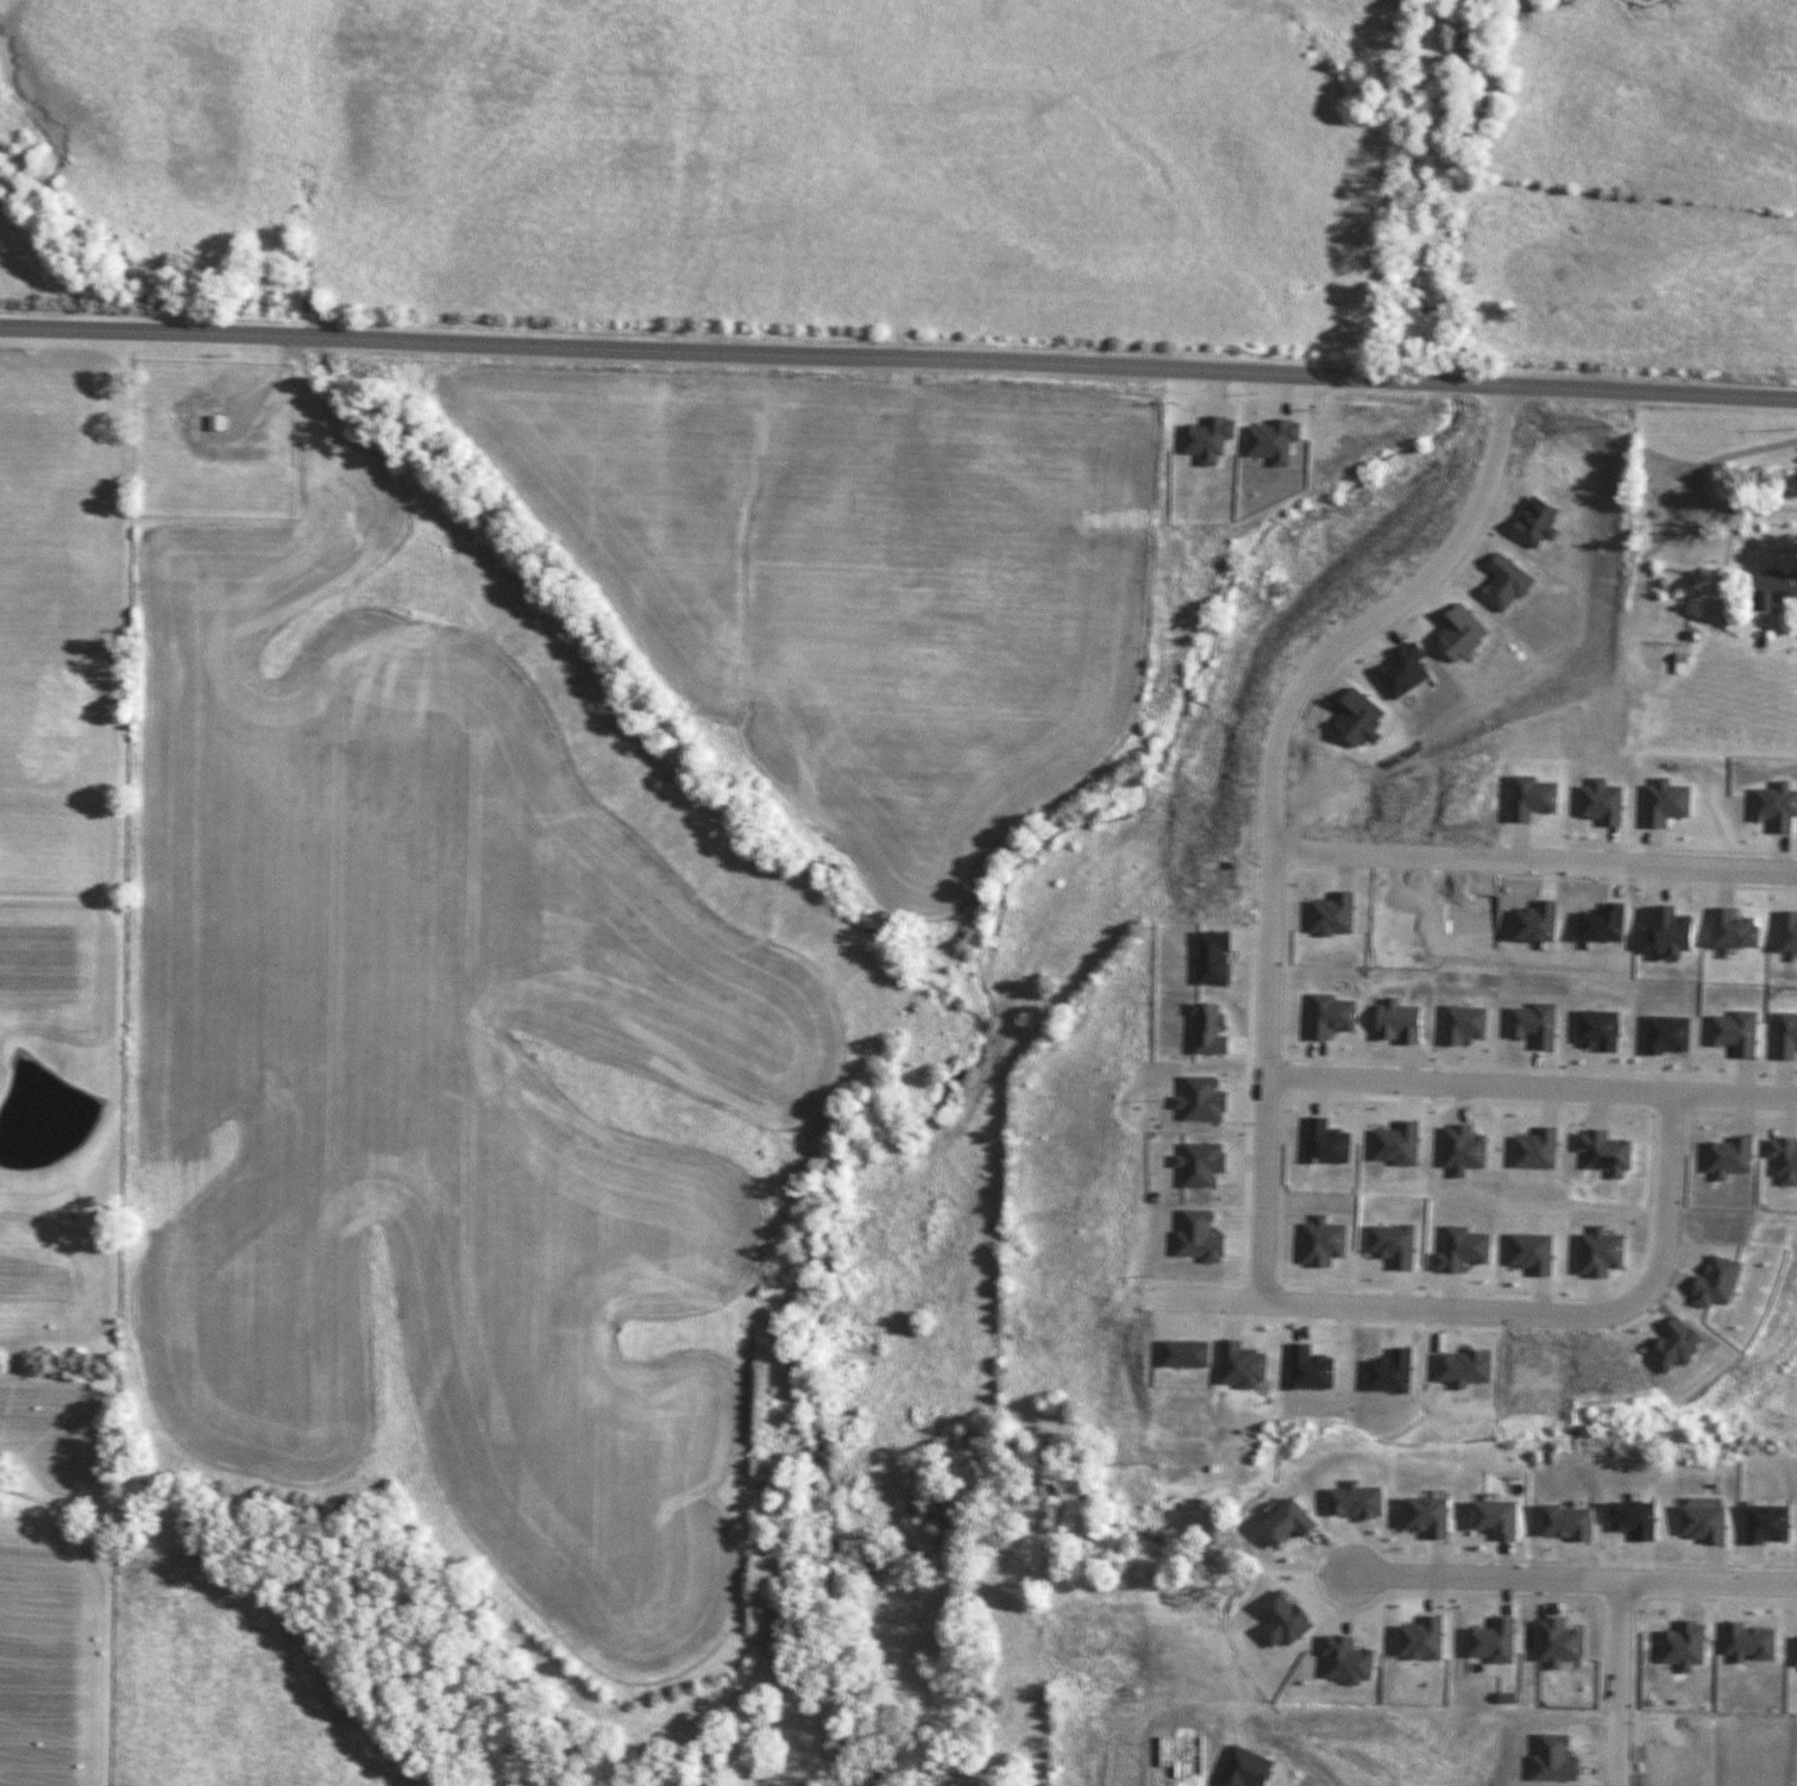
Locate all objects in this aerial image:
road: (898, 356)
building: (1205, 439)
building: (1269, 441)
building: (1531, 521)
road: (1733, 527)
building: (1359, 545)
building: (1501, 581)
building: (1770, 587)
building: (1457, 631)
building: (1401, 669)
road: (1296, 692)
building: (1356, 717)
building: (1532, 795)
building: (1666, 801)
building: (1600, 803)
building: (1776, 807)
road: (1325, 832)
road: (1289, 853)
road: (1534, 860)
building: (1326, 913)
building: (1528, 920)
building: (1601, 923)
building: (1666, 930)
building: (1787, 931)
building: (1730, 932)
building: (1207, 957)
road: (1284, 966)
building: (1327, 1017)
building: (1396, 1020)
building: (1460, 1020)
building: (1529, 1024)
building: (1206, 1027)
building: (1733, 1030)
building: (1594, 1031)
building: (1663, 1032)
building: (1784, 1033)
road: (1283, 1077)
road: (1532, 1088)
building: (1196, 1095)
road: (1669, 1109)
building: (1325, 1140)
building: (1394, 1143)
building: (1462, 1146)
road: (1248, 1149)
building: (1529, 1149)
building: (1604, 1149)
building: (1726, 1155)
building: (1783, 1157)
building: (1198, 1164)
road: (1264, 1189)
building: (1195, 1235)
building: (1320, 1238)
building: (1389, 1241)
building: (1459, 1245)
building: (1600, 1251)
building: (1528, 1252)
road: (1632, 1277)
building: (1715, 1279)
road: (1258, 1283)
road: (1503, 1312)
road: (1560, 1332)
building: (1672, 1345)
building: (1181, 1352)
building: (1237, 1365)
building: (1463, 1365)
building: (1307, 1366)
building: (1384, 1371)
building: (1352, 1498)
building: (1425, 1511)
building: (1629, 1515)
building: (1495, 1516)
building: (1565, 1517)
building: (1283, 1521)
building: (1702, 1521)
building: (1764, 1522)
road: (1313, 1571)
road: (1571, 1586)
road: (1660, 1606)
road: (1614, 1609)
building: (1283, 1627)
building: (1419, 1646)
building: (1490, 1649)
building: (1556, 1649)
building: (1746, 1649)
building: (1680, 1653)
building: (1792, 1658)
building: (1344, 1666)
road: (1614, 1686)
building: (1181, 1760)
building: (1553, 1766)
building: (1677, 1768)
building: (1244, 1772)

